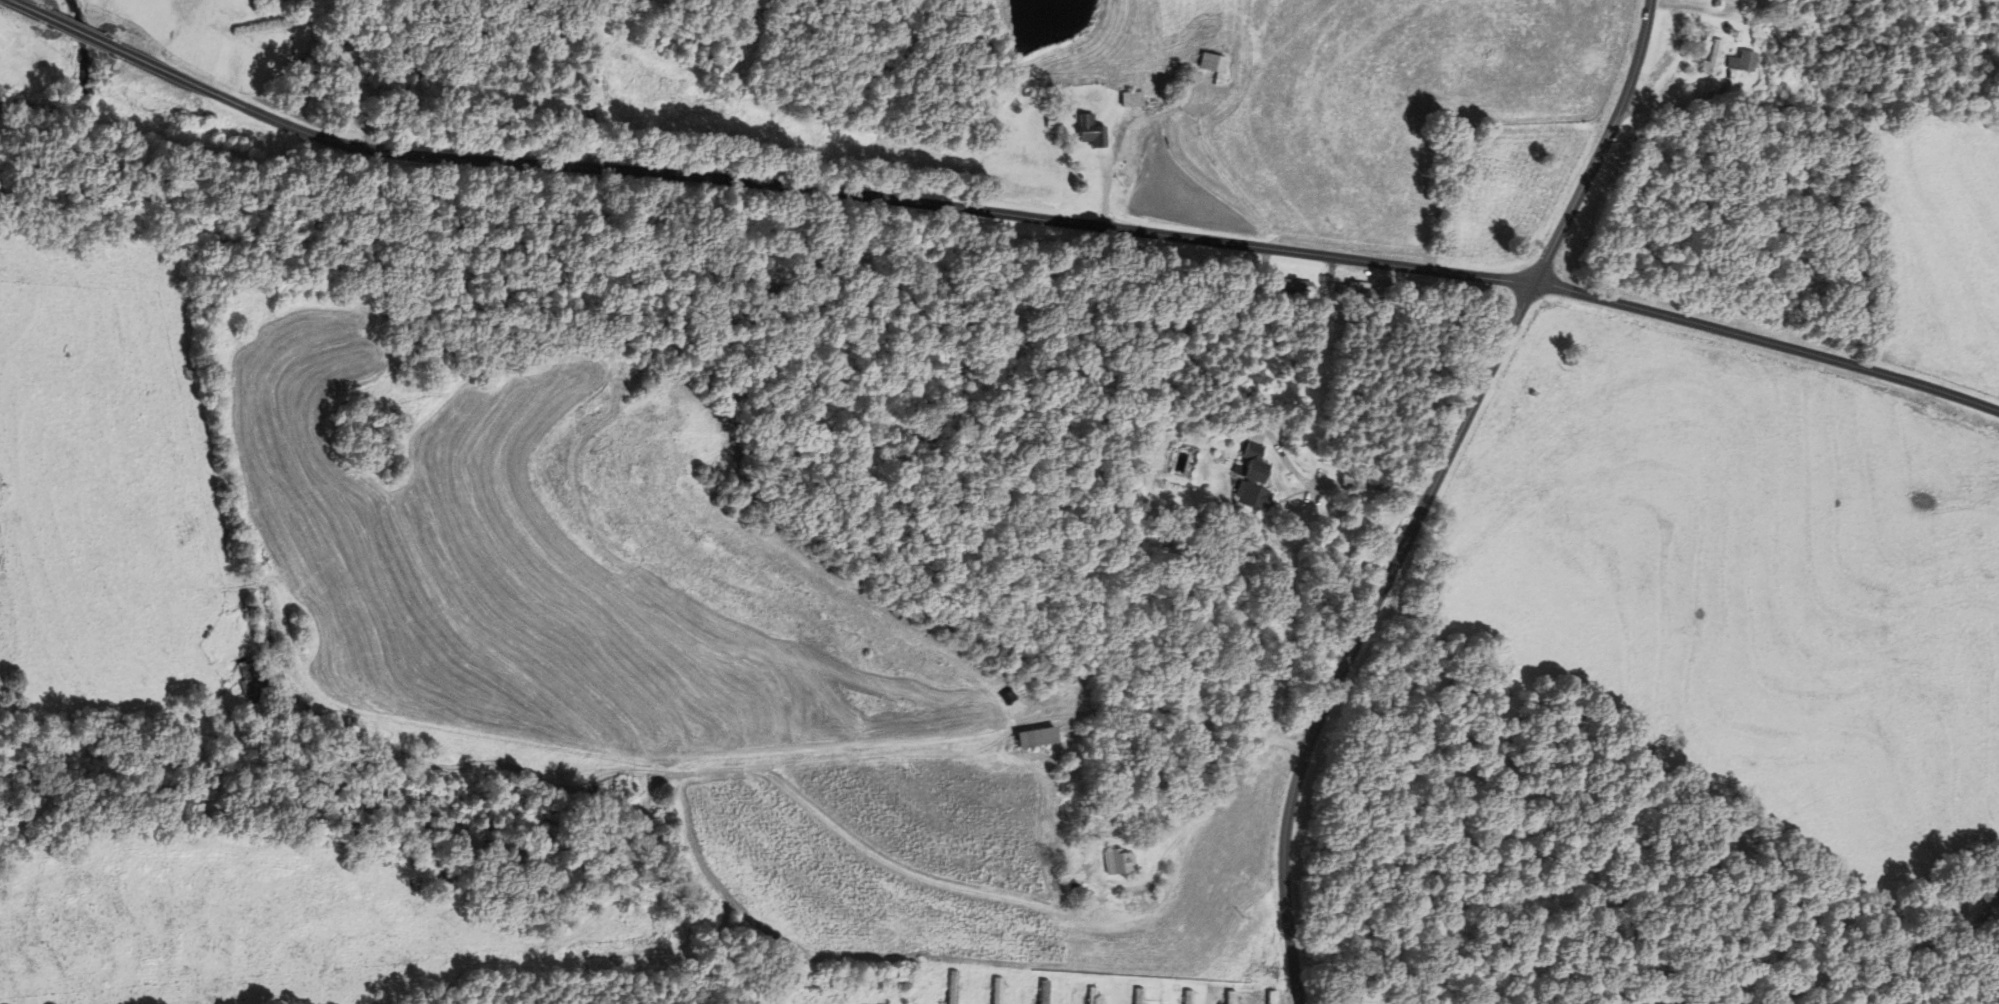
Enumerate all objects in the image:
building: (1692, 42)
building: (1711, 57)
building: (1739, 62)
building: (1212, 65)
road: (618, 72)
building: (1130, 99)
building: (1089, 131)
road: (1000, 216)
building: (1288, 285)
building: (1251, 480)
road: (1329, 483)
road: (1429, 493)
building: (253, 681)
building: (1036, 737)
road: (1229, 780)
building: (1118, 861)
building: (1984, 892)
building: (952, 987)
building: (996, 990)
building: (1043, 991)
building: (1137, 995)
building: (1091, 996)
building: (1186, 996)
building: (1229, 997)
building: (1270, 998)

